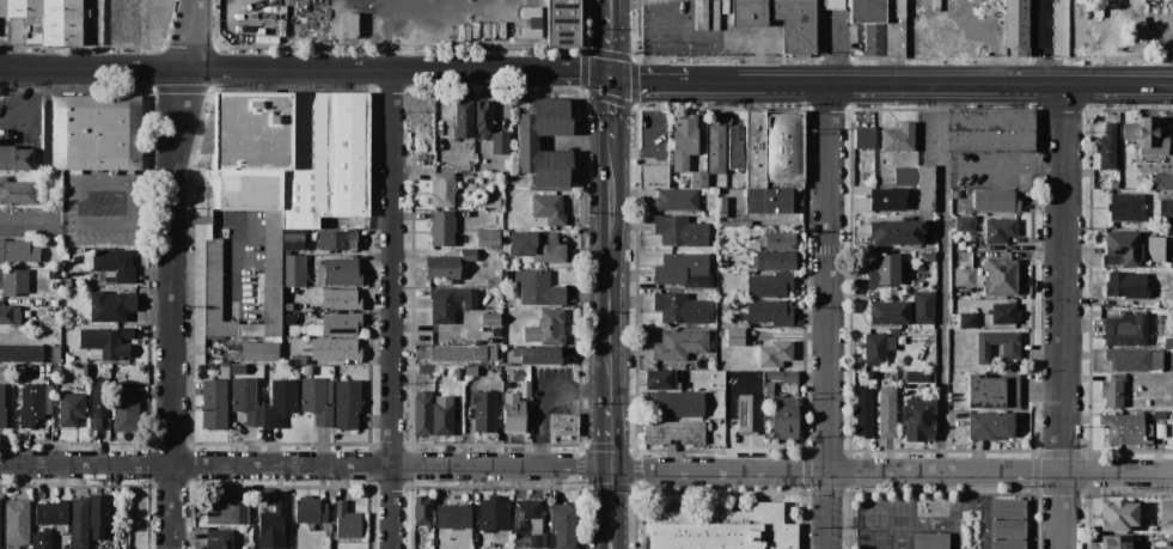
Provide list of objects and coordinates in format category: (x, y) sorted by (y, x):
road: (613, 5)
building: (835, 5)
road: (397, 6)
building: (725, 6)
building: (951, 7)
building: (2, 8)
building: (24, 8)
building: (715, 13)
building: (701, 14)
building: (530, 22)
building: (61, 23)
building: (869, 23)
building: (562, 24)
building: (348, 26)
building: (1002, 26)
building: (399, 29)
building: (894, 29)
building: (798, 39)
road: (613, 43)
road: (265, 71)
road: (573, 72)
road: (653, 83)
road: (931, 83)
road: (29, 104)
road: (613, 111)
building: (482, 117)
building: (463, 118)
building: (989, 130)
building: (92, 132)
road: (649, 135)
building: (898, 138)
building: (1147, 138)
building: (865, 139)
building: (684, 140)
building: (499, 142)
building: (546, 142)
building: (1106, 147)
building: (715, 148)
building: (774, 148)
building: (733, 150)
building: (289, 154)
building: (14, 158)
road: (1001, 164)
building: (653, 176)
building: (866, 177)
building: (698, 179)
building: (1162, 181)
building: (920, 184)
building: (1113, 184)
building: (442, 189)
building: (17, 191)
building: (728, 193)
building: (955, 194)
building: (886, 199)
building: (493, 200)
building: (676, 200)
building: (995, 201)
road: (79, 202)
building: (1125, 207)
building: (548, 208)
building: (1166, 208)
building: (741, 215)
building: (965, 224)
road: (242, 227)
building: (441, 227)
building: (998, 230)
building: (680, 231)
building: (897, 232)
building: (488, 238)
building: (292, 239)
building: (337, 239)
building: (720, 240)
building: (55, 242)
building: (778, 242)
building: (711, 244)
building: (752, 245)
building: (537, 246)
building: (1122, 249)
building: (18, 251)
building: (1159, 254)
building: (468, 255)
building: (929, 256)
building: (775, 260)
building: (114, 264)
building: (441, 267)
building: (683, 269)
building: (294, 270)
building: (884, 270)
building: (54, 273)
road: (171, 273)
building: (338, 273)
road: (612, 273)
building: (505, 274)
building: (966, 276)
building: (1000, 276)
road: (941, 277)
building: (269, 279)
building: (13, 281)
building: (769, 285)
building: (1125, 285)
building: (538, 288)
building: (214, 291)
building: (341, 299)
building: (448, 303)
building: (111, 306)
building: (679, 307)
building: (923, 307)
road: (390, 309)
building: (769, 312)
building: (887, 312)
building: (1003, 313)
building: (11, 315)
road: (830, 315)
road: (1062, 316)
building: (489, 319)
building: (967, 319)
building: (340, 323)
building: (545, 328)
building: (1125, 330)
building: (735, 336)
building: (1155, 341)
building: (105, 342)
building: (1168, 342)
building: (679, 344)
building: (335, 349)
building: (874, 349)
building: (258, 350)
building: (20, 353)
building: (458, 353)
building: (491, 353)
building: (1009, 353)
building: (55, 354)
building: (775, 354)
building: (540, 355)
building: (1134, 359)
building: (298, 360)
building: (428, 370)
building: (459, 373)
building: (782, 376)
building: (916, 376)
building: (660, 379)
building: (763, 386)
building: (525, 389)
building: (1112, 390)
building: (992, 391)
building: (246, 399)
building: (318, 399)
building: (97, 401)
building: (281, 402)
building: (72, 403)
building: (347, 403)
building: (679, 403)
building: (31, 404)
building: (213, 404)
building: (2, 405)
building: (124, 408)
building: (483, 411)
building: (863, 411)
building: (886, 411)
building: (422, 413)
building: (513, 413)
building: (746, 414)
building: (442, 415)
building: (784, 417)
building: (918, 420)
building: (562, 425)
building: (992, 425)
building: (1125, 429)
building: (676, 432)
road: (612, 434)
road: (586, 468)
road: (611, 501)
building: (1166, 510)
building: (227, 511)
building: (310, 511)
building: (422, 511)
building: (51, 512)
building: (493, 513)
building: (1117, 514)
building: (98, 516)
building: (453, 516)
building: (526, 517)
building: (18, 521)
building: (347, 521)
building: (79, 524)
building: (1006, 524)
building: (564, 525)
building: (311, 526)
building: (271, 527)
building: (458, 532)
building: (728, 532)
building: (42, 538)
building: (219, 539)
building: (545, 539)
building: (930, 541)
road: (611, 542)
building: (1125, 542)

